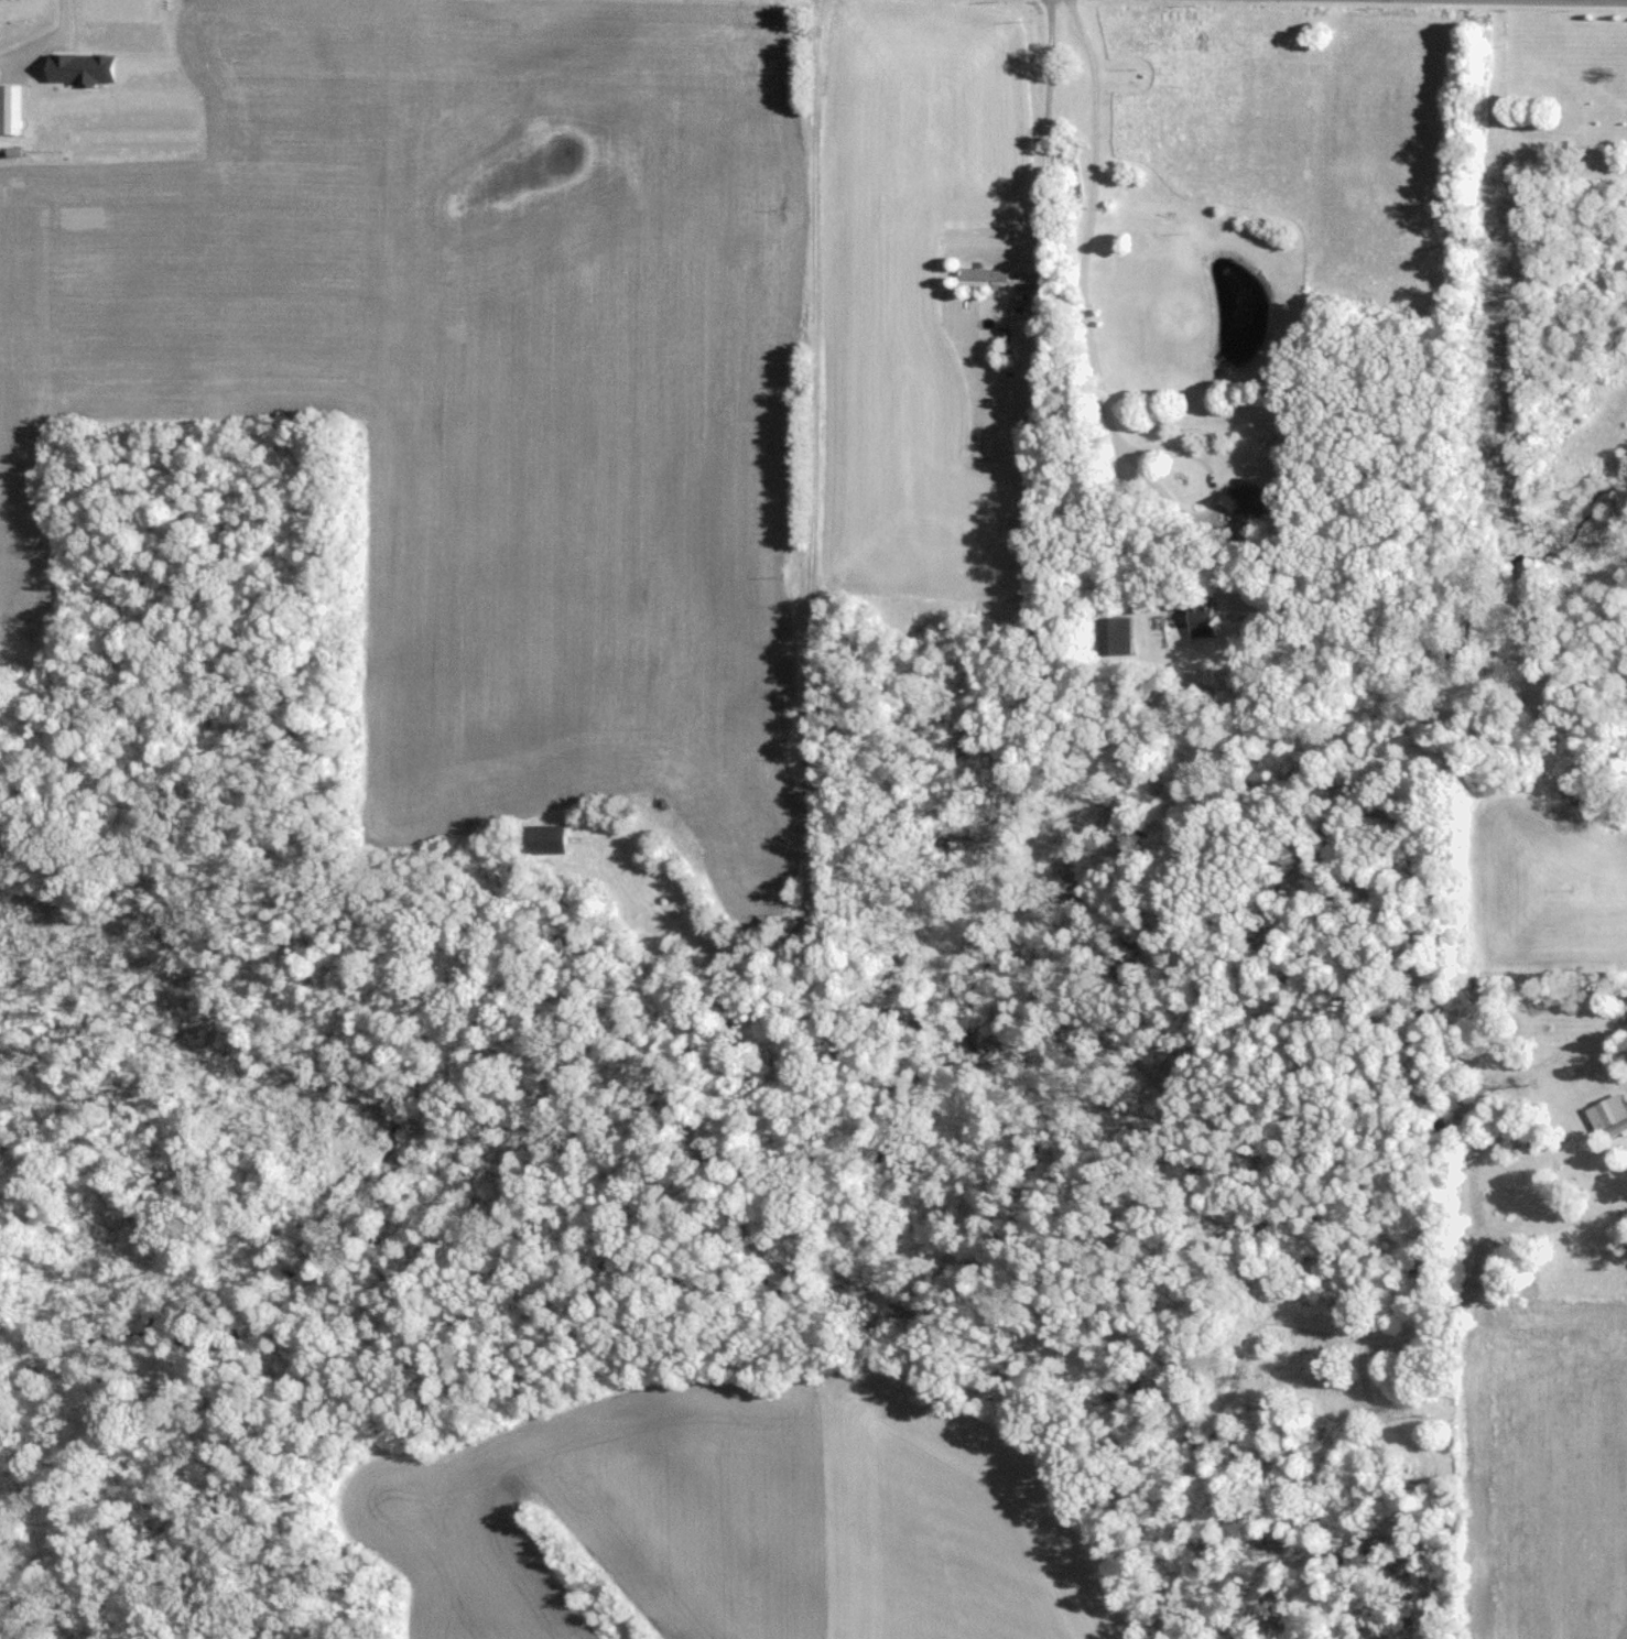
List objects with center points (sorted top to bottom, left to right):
road: (1042, 142)
road: (1088, 225)
building: (986, 274)
road: (1212, 499)
building: (1250, 499)
building: (555, 837)
building: (691, 909)

